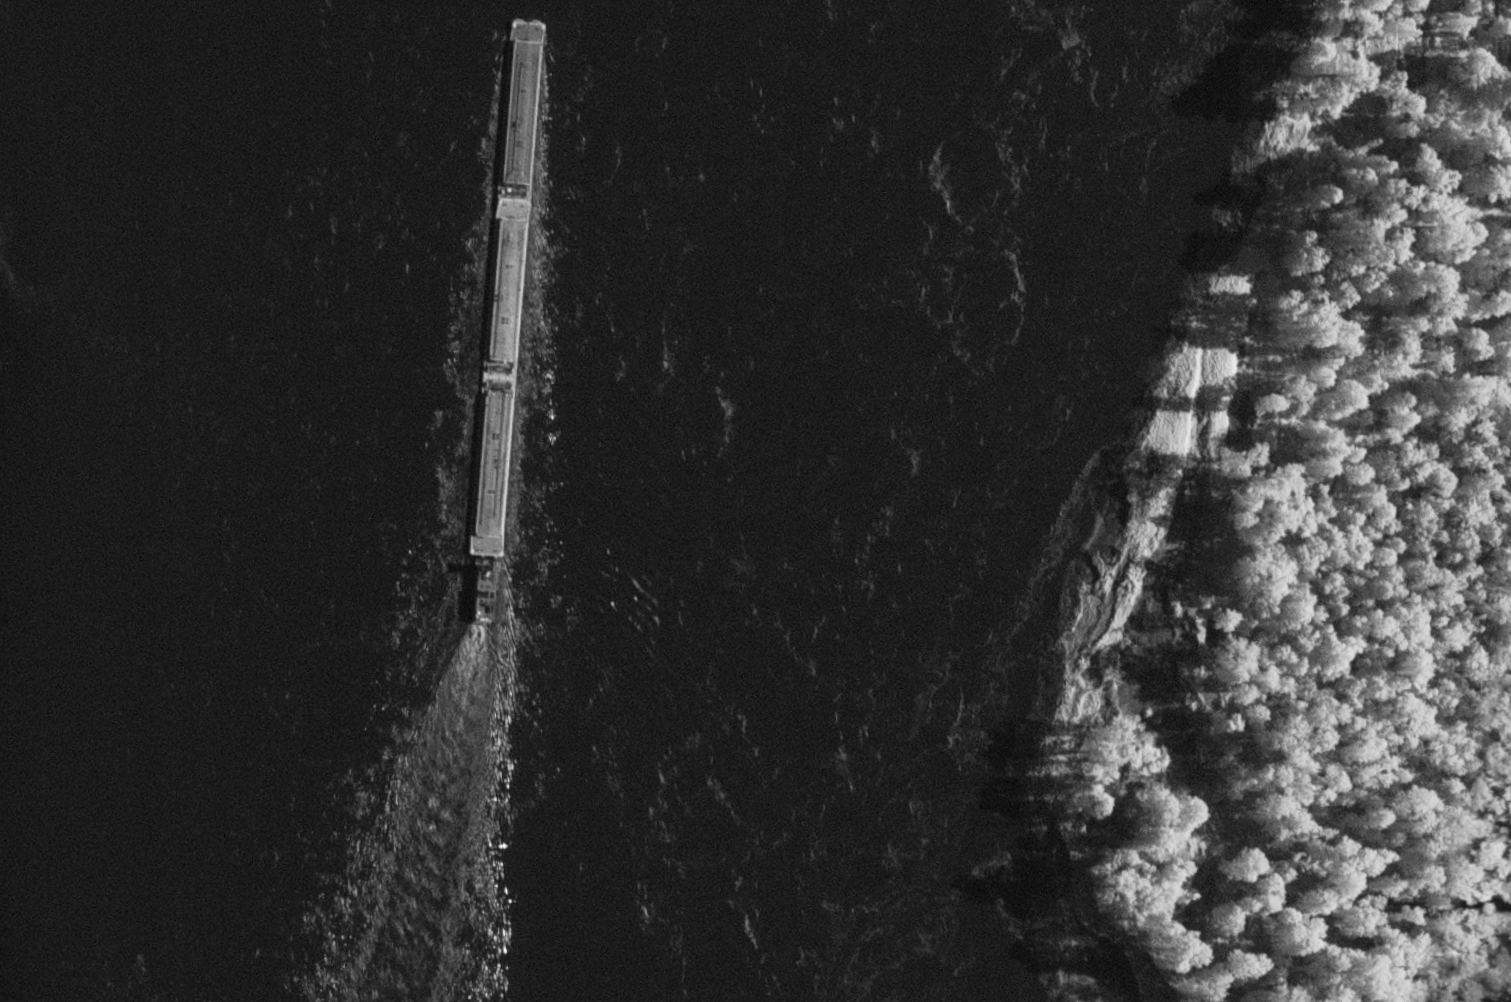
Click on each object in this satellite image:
river: (10, 659)

